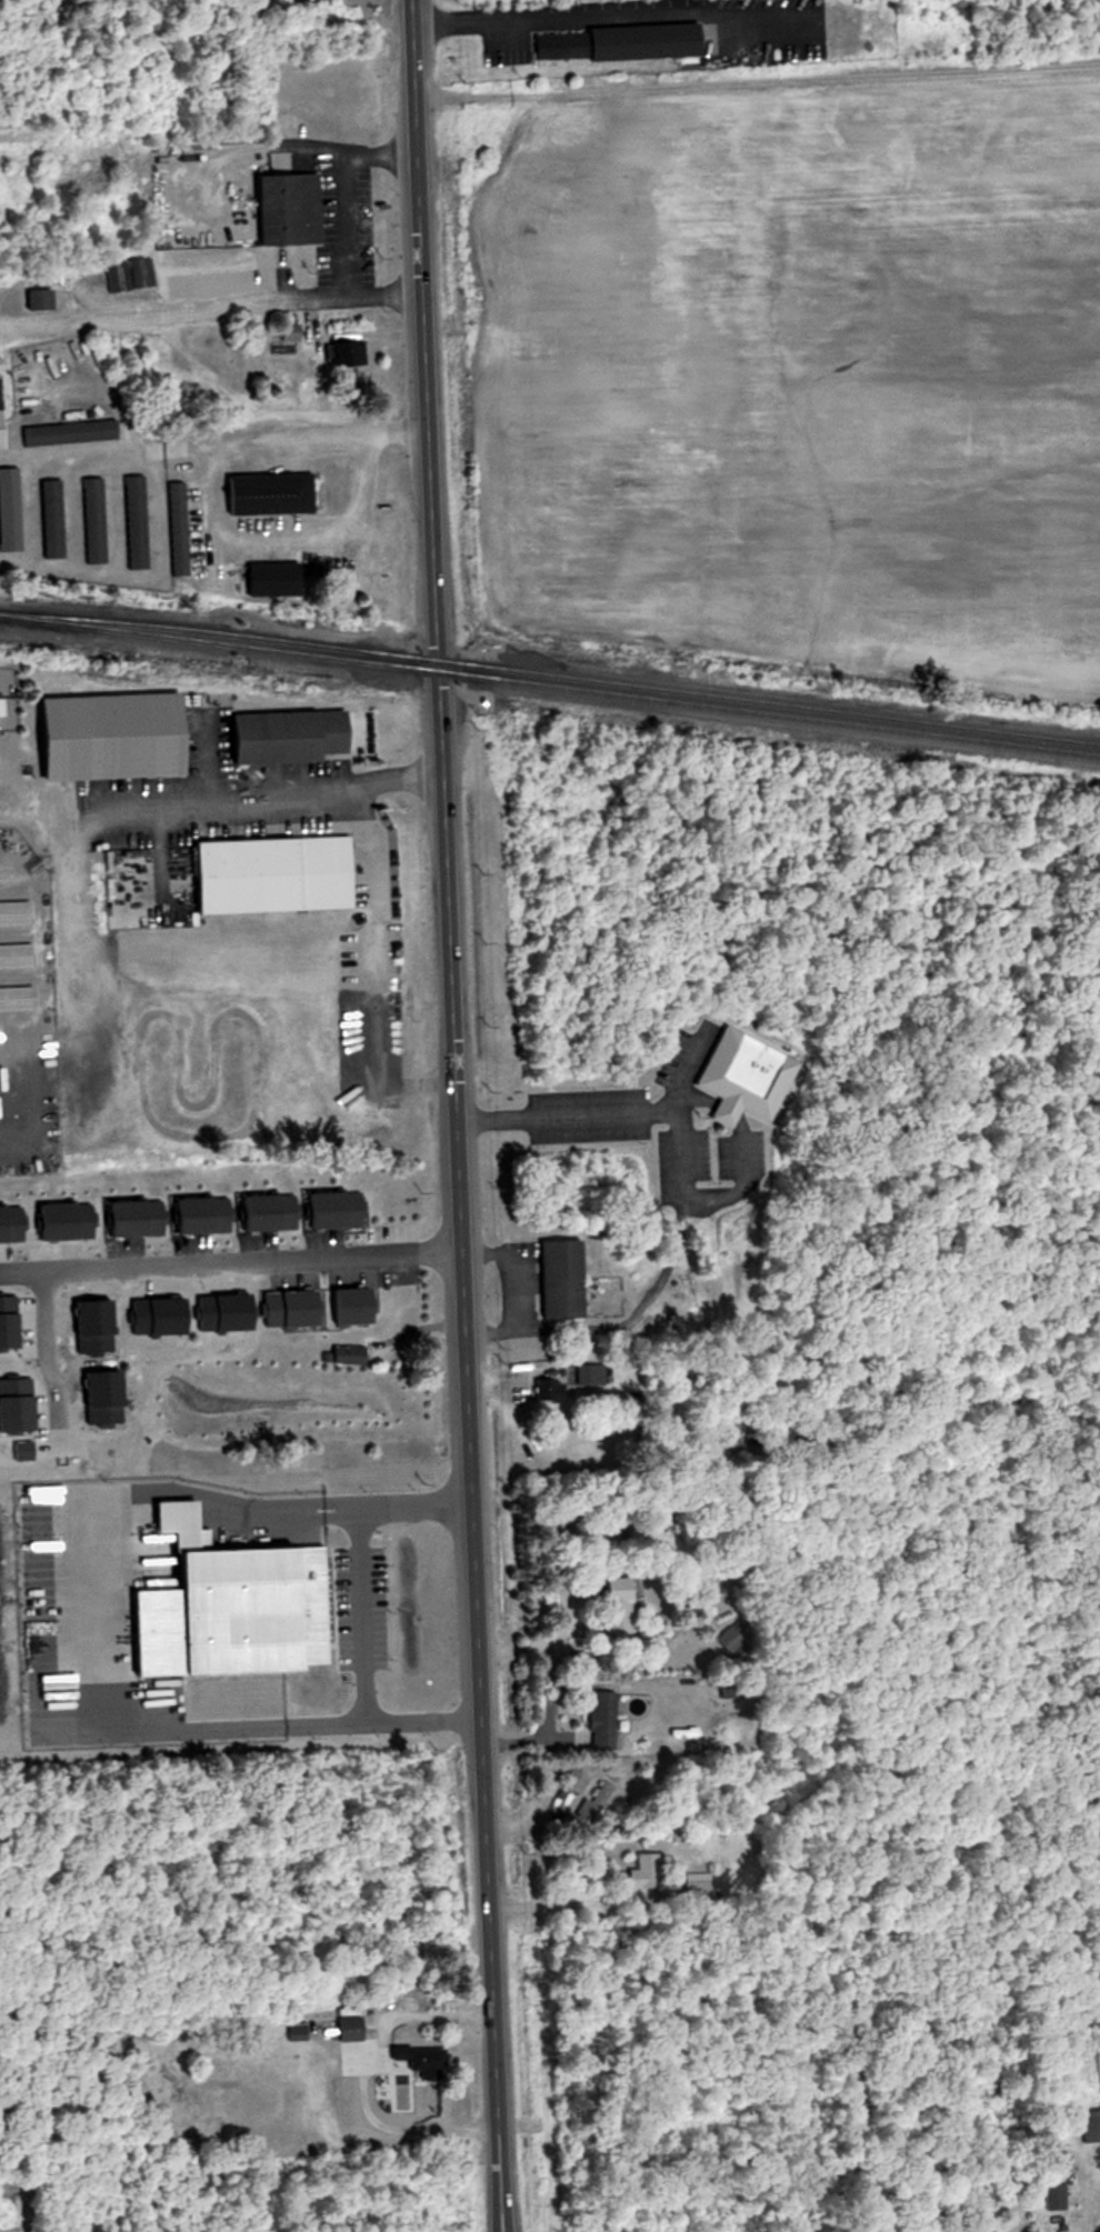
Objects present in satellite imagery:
road: (606, 12)
building: (624, 41)
road: (341, 188)
building: (296, 208)
building: (578, 219)
building: (48, 293)
road: (210, 304)
building: (356, 352)
building: (4, 416)
building: (73, 431)
building: (274, 493)
road: (214, 503)
building: (12, 509)
building: (56, 519)
building: (98, 520)
building: (140, 522)
building: (182, 529)
building: (274, 580)
railway: (550, 675)
railway: (550, 687)
building: (119, 735)
building: (292, 735)
road: (241, 792)
building: (281, 874)
building: (16, 913)
building: (17, 957)
road: (371, 971)
building: (17, 999)
building: (744, 1077)
road: (708, 1102)
road: (727, 1111)
road: (453, 1115)
road: (579, 1117)
road: (742, 1161)
park: (953, 1170)
road: (687, 1172)
building: (340, 1210)
building: (273, 1212)
building: (209, 1215)
building: (141, 1218)
building: (70, 1221)
building: (13, 1223)
road: (229, 1260)
building: (564, 1279)
road: (513, 1298)
road: (637, 1315)
road: (46, 1344)
building: (353, 1354)
building: (623, 1590)
building: (234, 1607)
road: (361, 1615)
building: (604, 1720)
building: (577, 1780)
building: (598, 1801)
road: (573, 1904)
building: (354, 2026)
building: (301, 2029)
road: (379, 2061)
building: (1088, 2125)
building: (1049, 2196)
building: (1094, 2203)

